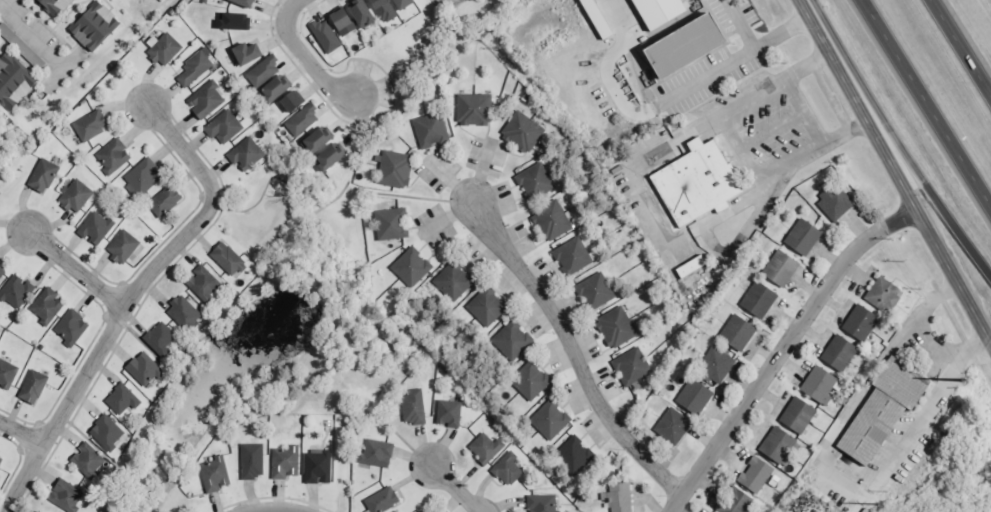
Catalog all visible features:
building: (241, 3)
building: (401, 4)
building: (55, 5)
building: (381, 10)
building: (656, 11)
building: (359, 13)
building: (595, 21)
building: (233, 22)
building: (340, 22)
building: (92, 25)
road: (31, 35)
building: (325, 36)
building: (679, 46)
road: (961, 47)
building: (164, 49)
building: (245, 53)
road: (305, 56)
building: (263, 71)
building: (13, 78)
building: (274, 88)
building: (206, 100)
building: (289, 100)
road: (926, 104)
building: (474, 110)
building: (302, 120)
building: (90, 126)
building: (224, 126)
building: (430, 130)
building: (522, 132)
building: (317, 139)
road: (897, 141)
building: (245, 154)
building: (113, 156)
building: (328, 157)
building: (395, 169)
road: (896, 170)
building: (42, 176)
building: (142, 177)
building: (535, 182)
building: (694, 183)
building: (74, 196)
building: (164, 201)
building: (834, 203)
building: (550, 221)
building: (391, 224)
building: (95, 228)
building: (802, 238)
building: (123, 246)
building: (572, 256)
building: (227, 259)
building: (411, 267)
building: (689, 267)
road: (76, 269)
building: (780, 269)
building: (1, 272)
building: (452, 282)
building: (203, 283)
building: (16, 291)
building: (594, 292)
building: (880, 293)
road: (129, 299)
building: (758, 300)
building: (46, 305)
building: (487, 306)
building: (183, 312)
building: (859, 323)
building: (71, 327)
building: (615, 327)
building: (737, 333)
building: (160, 338)
building: (513, 340)
road: (782, 348)
road: (573, 351)
building: (838, 352)
building: (716, 364)
building: (631, 367)
building: (143, 368)
building: (7, 374)
building: (530, 380)
building: (819, 385)
building: (33, 387)
building: (694, 397)
building: (121, 399)
building: (414, 406)
building: (879, 411)
building: (449, 413)
building: (797, 415)
building: (550, 419)
building: (673, 426)
road: (21, 432)
building: (106, 432)
building: (776, 445)
building: (485, 448)
building: (376, 453)
building: (574, 455)
building: (0, 459)
building: (87, 459)
building: (252, 461)
building: (285, 462)
building: (317, 466)
building: (507, 469)
building: (214, 474)
building: (755, 475)
road: (456, 487)
building: (65, 495)
building: (619, 497)
building: (381, 500)
building: (734, 501)
building: (542, 503)
building: (428, 510)

